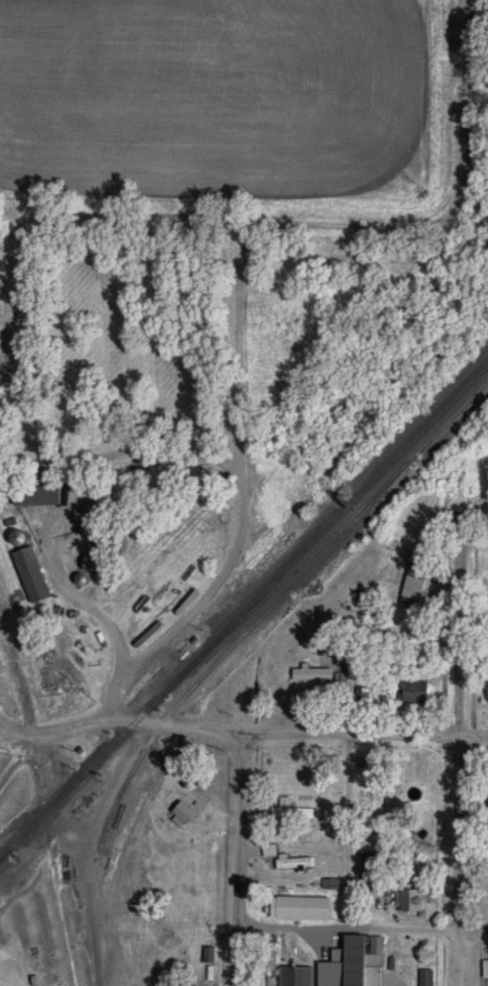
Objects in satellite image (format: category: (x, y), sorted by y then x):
road: (151, 461)
building: (35, 494)
road: (243, 500)
building: (88, 529)
railway: (328, 538)
building: (30, 574)
road: (64, 577)
building: (411, 598)
railway: (243, 611)
railway: (224, 652)
building: (311, 674)
building: (413, 690)
building: (362, 694)
road: (106, 708)
road: (242, 735)
building: (331, 762)
building: (282, 808)
building: (303, 813)
road: (452, 818)
railway: (3, 854)
road: (238, 860)
building: (372, 869)
building: (412, 900)
building: (334, 912)
building: (297, 914)
road: (362, 925)
building: (362, 960)
building: (270, 968)
building: (407, 970)
building: (295, 976)
building: (425, 977)
building: (484, 981)

